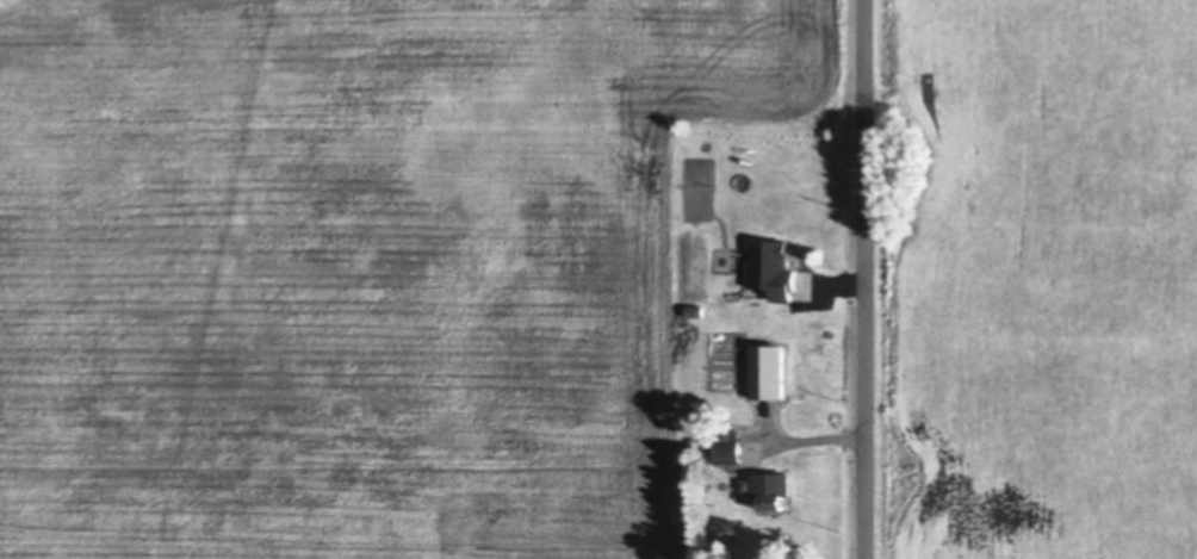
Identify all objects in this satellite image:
building: (737, 265)
building: (771, 269)
road: (867, 279)
building: (763, 371)
building: (694, 443)
building: (722, 447)
building: (748, 485)
building: (771, 491)

